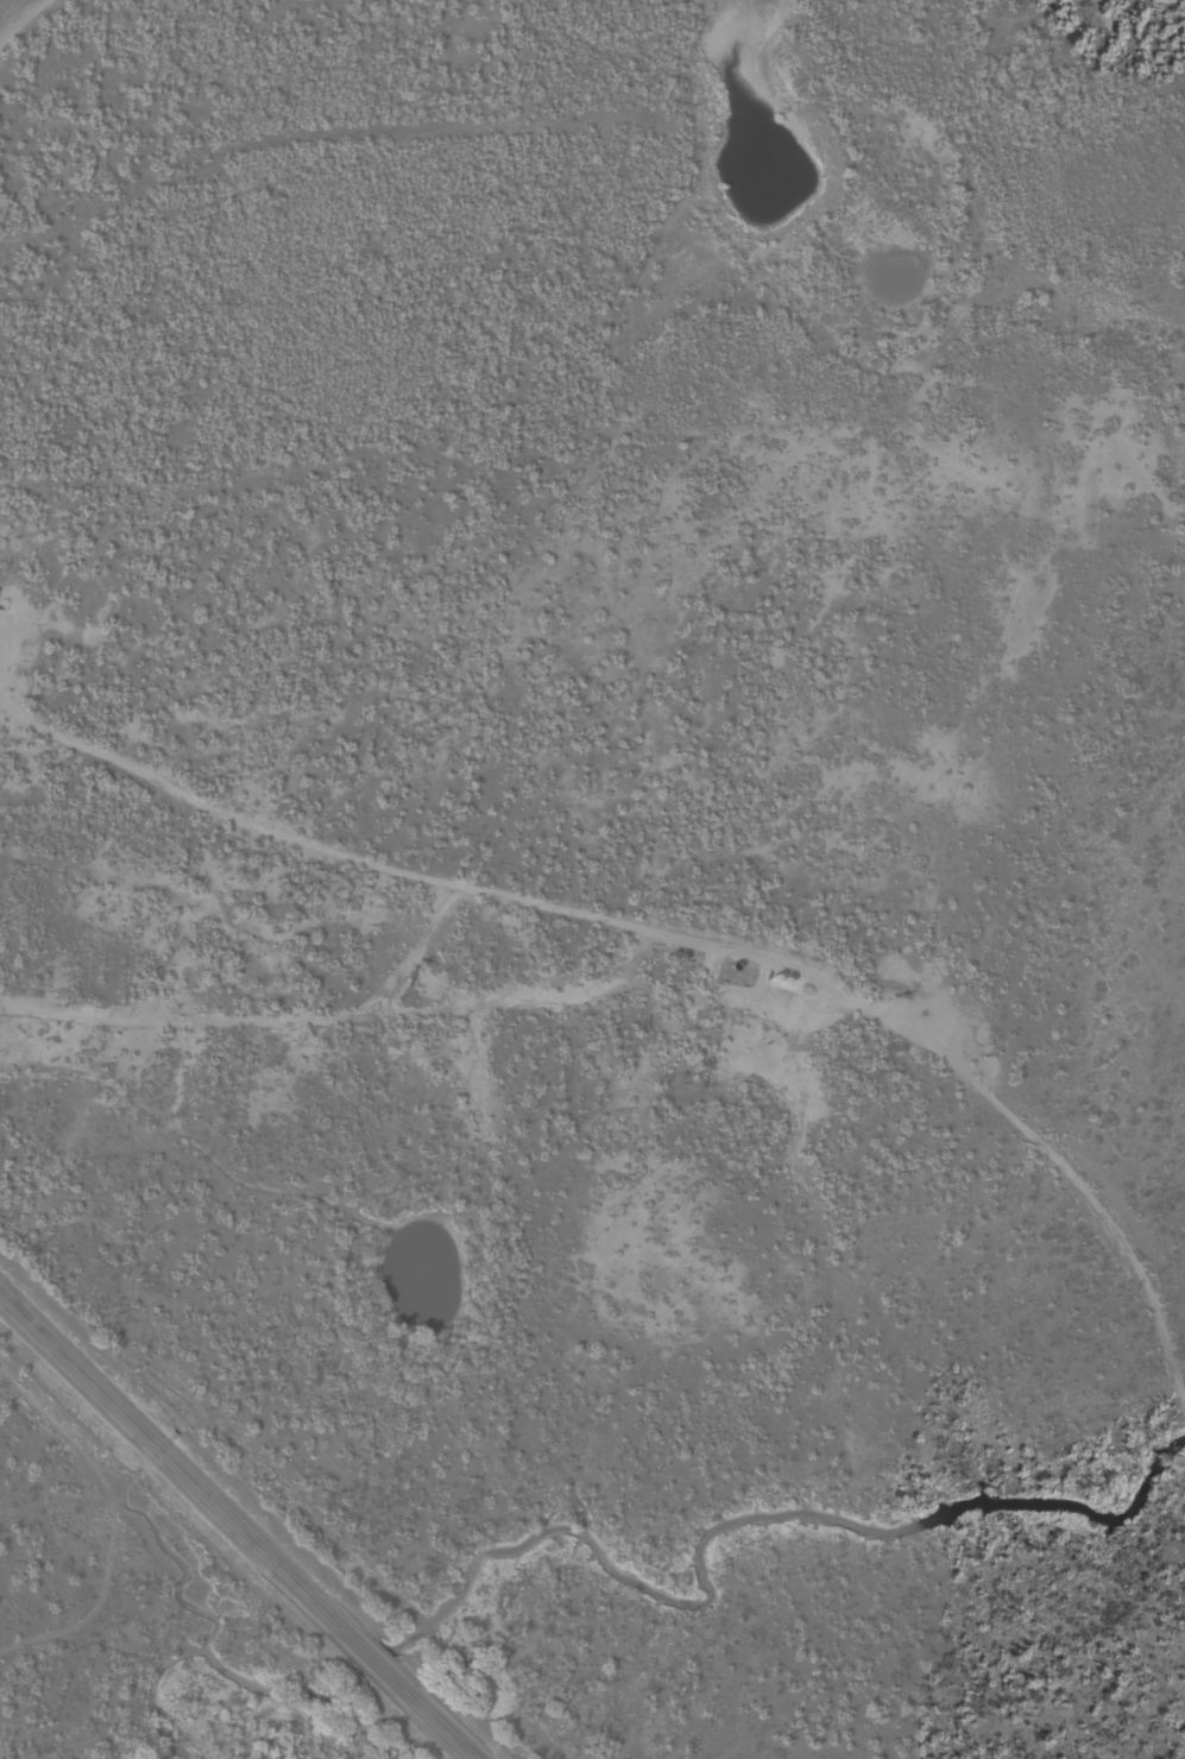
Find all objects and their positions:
road: (44, 42)
road: (238, 1525)

